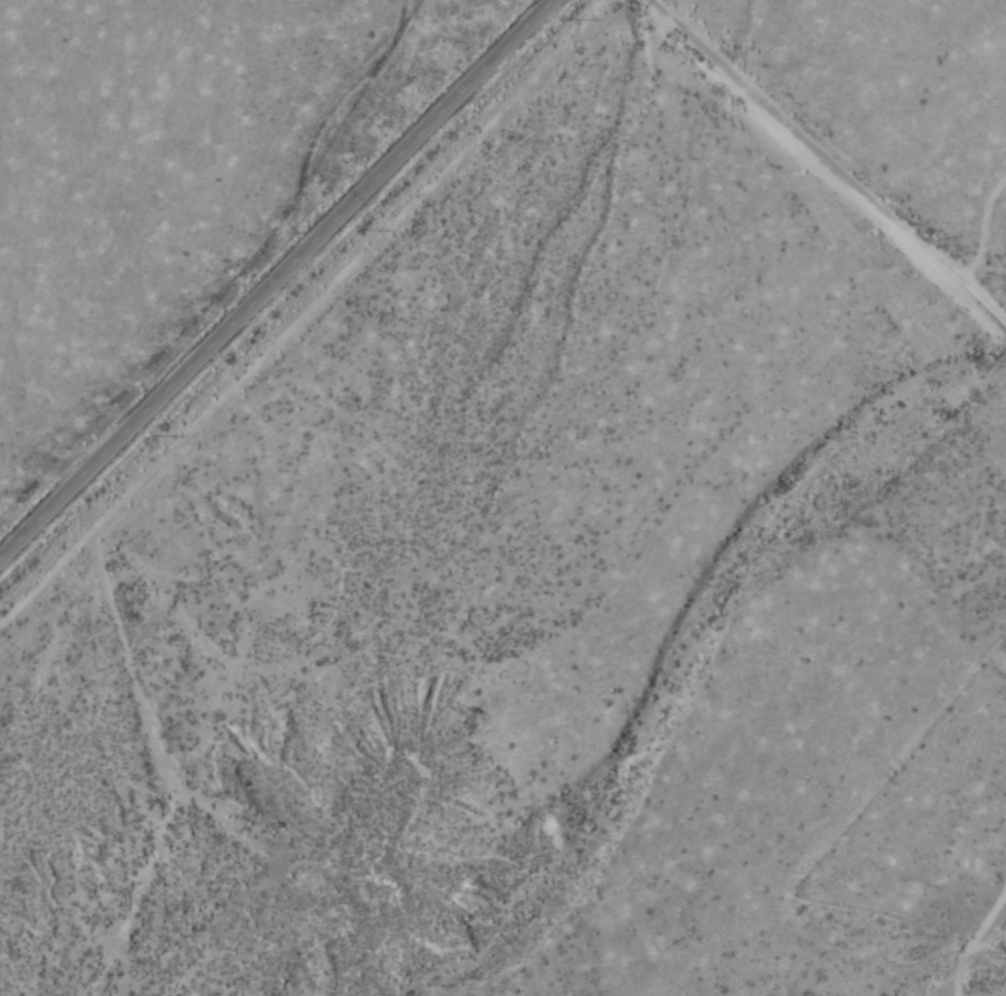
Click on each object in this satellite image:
road: (772, 215)
road: (276, 280)
road: (980, 729)

